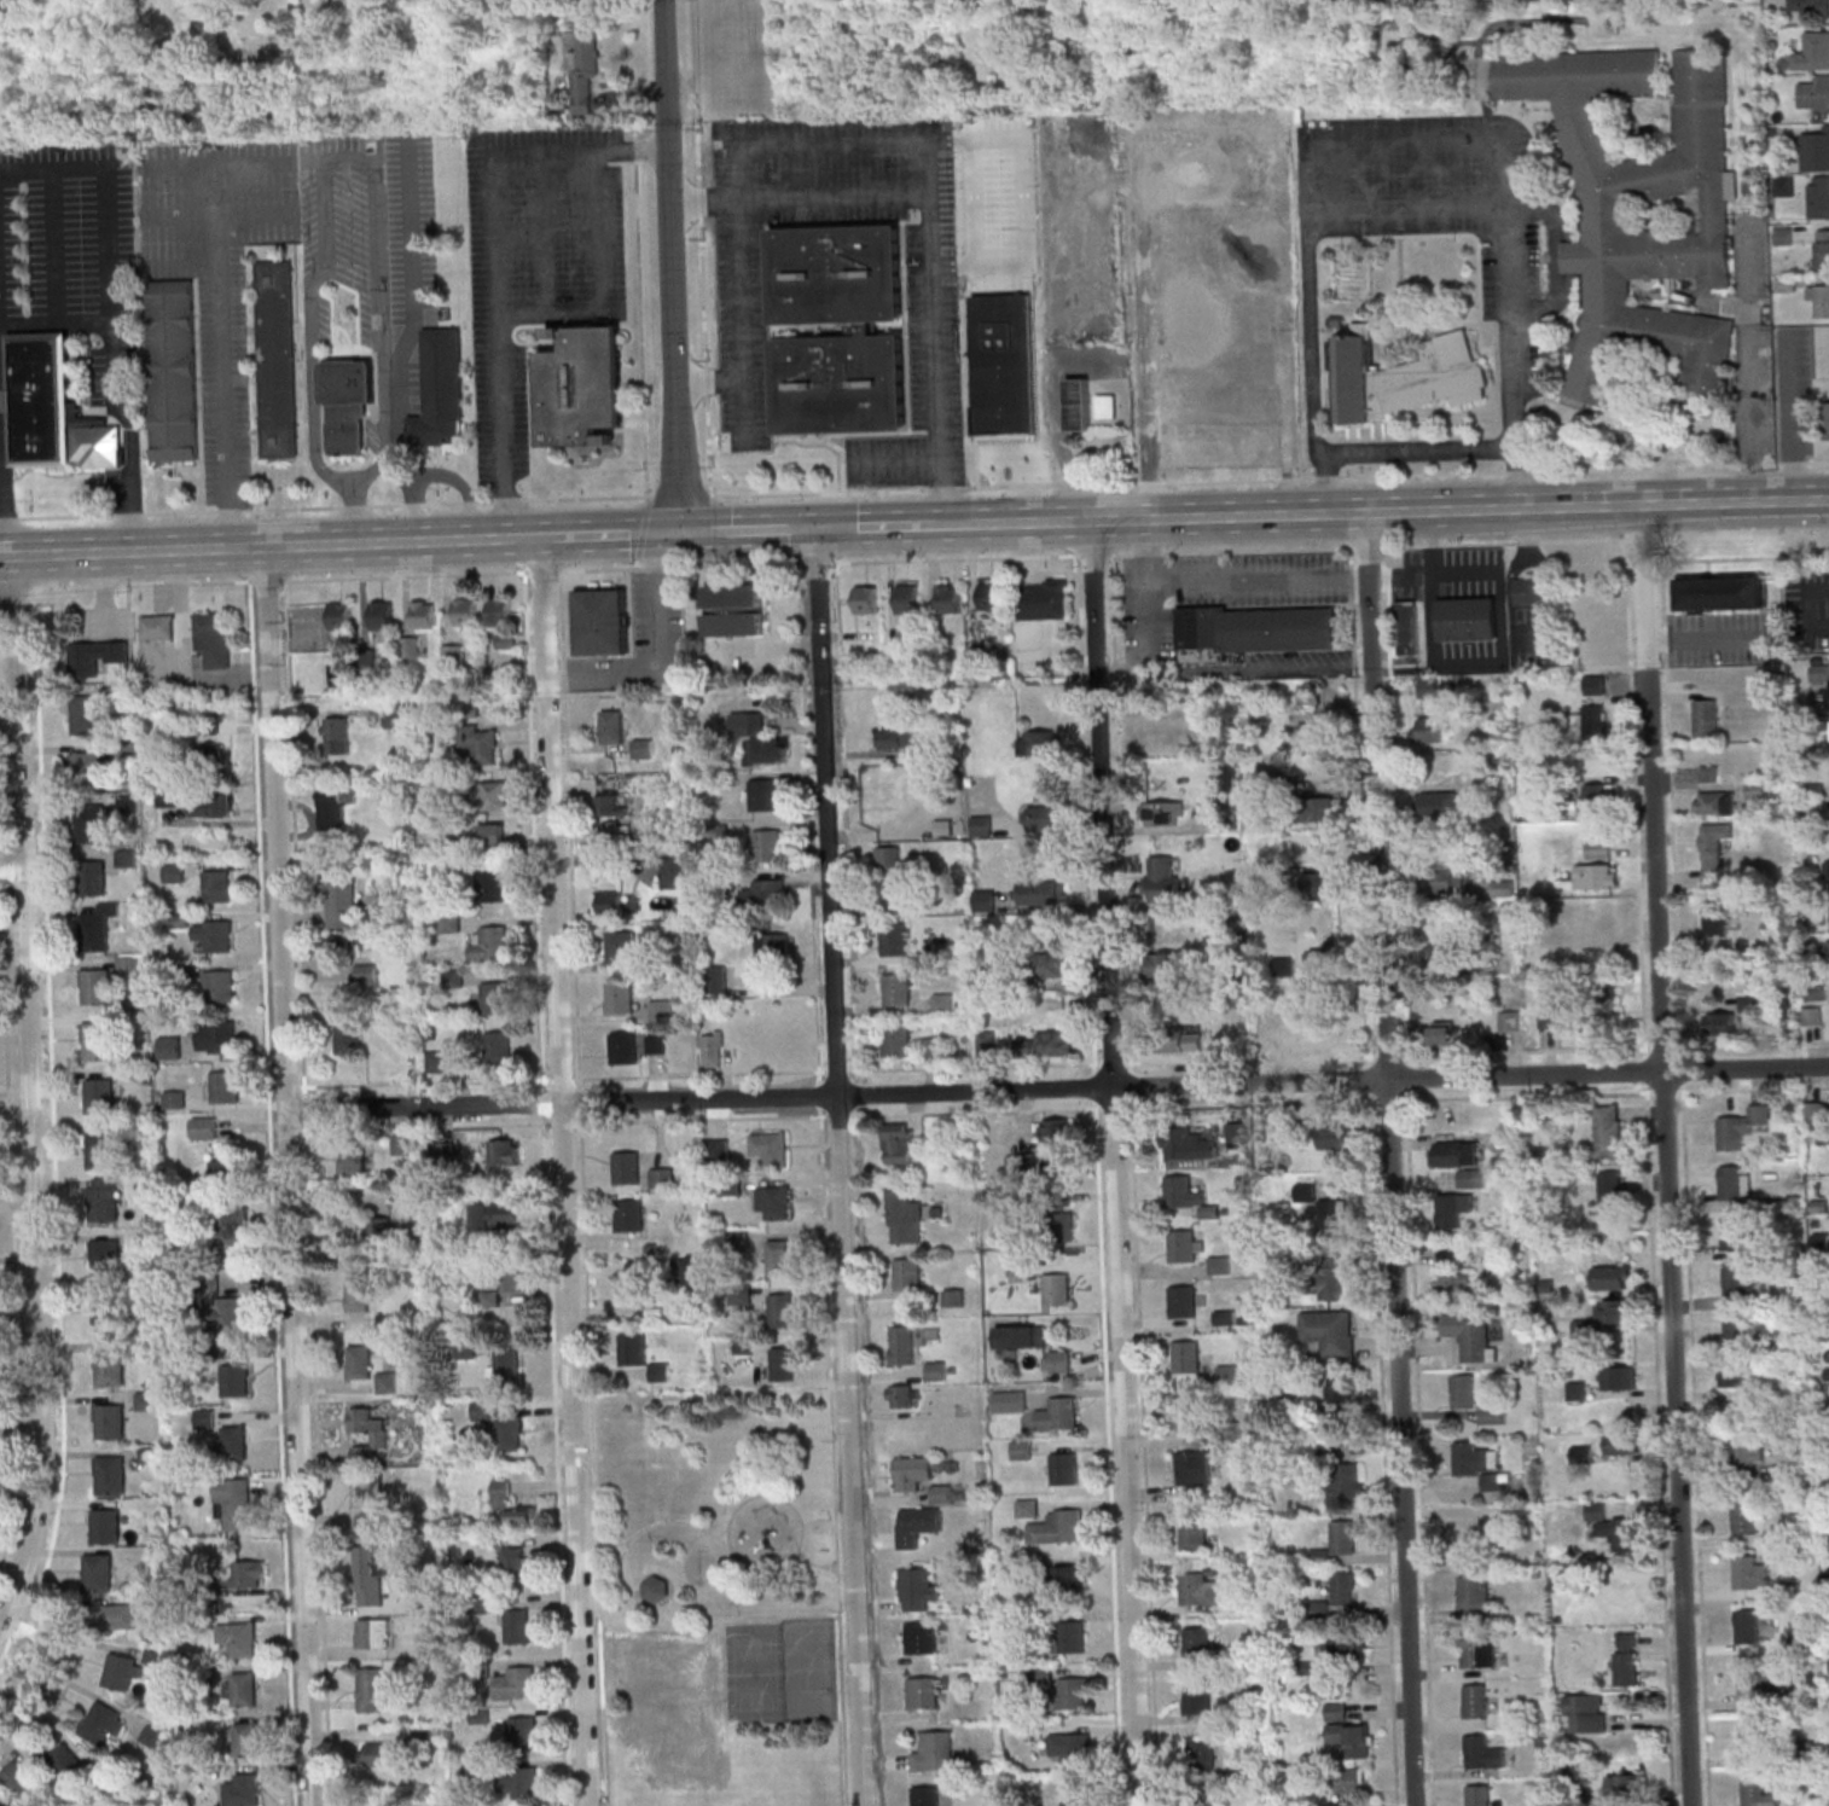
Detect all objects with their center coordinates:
building: (1808, 7)
building: (1813, 51)
building: (581, 68)
building: (1815, 92)
building: (1816, 151)
road: (698, 152)
road: (344, 156)
road: (256, 163)
road: (736, 170)
building: (1784, 185)
building: (1818, 196)
road: (802, 197)
road: (699, 199)
road: (997, 199)
road: (1407, 209)
road: (257, 213)
road: (176, 215)
building: (1606, 216)
road: (1506, 226)
road: (547, 234)
road: (53, 245)
building: (1823, 249)
road: (499, 260)
road: (767, 260)
road: (677, 266)
building: (837, 272)
road: (602, 281)
road: (703, 291)
building: (1819, 297)
road: (114, 308)
road: (640, 314)
road: (1146, 314)
road: (220, 317)
road: (57, 321)
road: (906, 326)
building: (1208, 339)
road: (403, 341)
building: (278, 358)
road: (936, 359)
building: (1004, 361)
road: (1749, 368)
building: (174, 370)
building: (1404, 373)
road: (714, 378)
road: (707, 379)
building: (348, 381)
building: (841, 383)
building: (582, 384)
building: (440, 388)
road: (198, 394)
road: (1313, 399)
building: (1079, 403)
building: (1107, 405)
building: (52, 406)
building: (348, 408)
building: (1828, 417)
road: (1787, 418)
road: (1047, 422)
road: (879, 431)
building: (347, 434)
road: (830, 442)
road: (709, 447)
road: (890, 460)
road: (1268, 478)
road: (460, 483)
road: (1330, 484)
road: (6, 490)
road: (680, 494)
road: (326, 506)
road: (355, 511)
road: (1399, 513)
road: (957, 524)
road: (878, 527)
traffic signals: (817, 529)
road: (754, 530)
road: (640, 533)
road: (666, 533)
traffic signals: (691, 533)
road: (592, 535)
road: (527, 539)
road: (254, 550)
road: (1389, 556)
road: (922, 558)
road: (1389, 586)
building: (1532, 590)
building: (992, 593)
building: (1720, 593)
building: (950, 597)
building: (866, 598)
building: (908, 598)
building: (1044, 599)
road: (1827, 606)
building: (734, 609)
building: (500, 610)
road: (547, 610)
road: (12, 611)
building: (466, 611)
road: (1, 612)
building: (423, 614)
building: (341, 615)
building: (382, 615)
building: (1470, 620)
building: (602, 621)
building: (157, 626)
building: (1410, 627)
building: (1254, 631)
road: (1702, 634)
building: (214, 638)
building: (410, 646)
building: (452, 651)
building: (95, 656)
road: (658, 656)
building: (1595, 684)
building: (1428, 686)
building: (1310, 693)
building: (86, 714)
building: (394, 715)
building: (1706, 716)
building: (1592, 718)
building: (756, 722)
building: (611, 725)
building: (1433, 726)
building: (1312, 733)
building: (335, 734)
building: (894, 738)
building: (1152, 738)
building: (480, 742)
building: (1039, 743)
building: (643, 748)
building: (768, 749)
building: (208, 757)
building: (88, 766)
building: (1757, 789)
building: (762, 794)
building: (492, 795)
building: (168, 796)
building: (337, 797)
building: (1596, 801)
building: (1714, 801)
building: (927, 802)
building: (214, 803)
building: (1439, 803)
building: (609, 805)
building: (1324, 807)
building: (1163, 812)
building: (1043, 815)
building: (89, 823)
building: (934, 825)
building: (981, 825)
road: (569, 826)
road: (1084, 826)
road: (534, 829)
building: (650, 831)
building: (493, 834)
road: (809, 834)
road: (846, 834)
building: (767, 844)
building: (1598, 848)
building: (1713, 850)
building: (889, 861)
road: (10, 867)
building: (673, 871)
building: (1825, 871)
building: (1596, 876)
building: (91, 877)
building: (1162, 878)
building: (1432, 882)
building: (490, 884)
building: (1323, 884)
building: (215, 885)
building: (1040, 892)
building: (765, 894)
building: (339, 899)
building: (985, 900)
building: (609, 902)
building: (1596, 912)
building: (1714, 917)
building: (448, 922)
building: (95, 927)
building: (213, 934)
building: (894, 937)
building: (489, 942)
building: (339, 943)
building: (622, 950)
building: (1828, 950)
building: (1439, 954)
building: (768, 956)
building: (1323, 956)
building: (1049, 963)
building: (1165, 964)
building: (129, 965)
building: (1282, 966)
building: (366, 972)
building: (715, 977)
building: (217, 985)
building: (95, 986)
building: (896, 988)
building: (494, 997)
building: (620, 997)
building: (1607, 1001)
building: (1813, 1015)
building: (1550, 1016)
building: (1720, 1023)
building: (215, 1035)
building: (347, 1035)
building: (1325, 1038)
building: (896, 1039)
building: (1178, 1039)
building: (98, 1040)
building: (656, 1043)
building: (1045, 1044)
building: (986, 1045)
building: (168, 1046)
building: (498, 1046)
building: (623, 1047)
building: (712, 1047)
building: (437, 1061)
building: (223, 1086)
road: (1752, 1088)
road: (1058, 1090)
building: (98, 1096)
road: (29, 1099)
building: (173, 1099)
road: (580, 1099)
road: (544, 1101)
road: (975, 1110)
road: (837, 1115)
road: (701, 1119)
building: (1740, 1126)
building: (204, 1127)
building: (1056, 1128)
building: (1609, 1131)
building: (1237, 1132)
building: (1335, 1137)
building: (899, 1143)
building: (1186, 1144)
building: (771, 1146)
building: (100, 1149)
building: (718, 1149)
building: (504, 1151)
building: (1455, 1152)
road: (1671, 1156)
road: (1393, 1160)
building: (354, 1162)
building: (1024, 1162)
road: (1117, 1163)
building: (626, 1167)
road: (840, 1167)
building: (222, 1169)
road: (1374, 1175)
road: (291, 1177)
building: (662, 1177)
building: (1471, 1178)
road: (1133, 1179)
building: (1735, 1181)
building: (1181, 1191)
road: (54, 1194)
road: (272, 1194)
building: (1609, 1197)
building: (101, 1198)
building: (773, 1201)
road: (1410, 1206)
building: (1453, 1208)
building: (1329, 1213)
building: (500, 1214)
building: (629, 1214)
road: (12, 1215)
building: (905, 1216)
building: (1063, 1225)
building: (234, 1226)
building: (378, 1230)
building: (1735, 1232)
road: (571, 1243)
building: (1183, 1245)
building: (1448, 1253)
building: (779, 1256)
building: (104, 1258)
building: (689, 1271)
building: (1332, 1272)
building: (907, 1273)
building: (1612, 1277)
building: (517, 1278)
building: (1737, 1281)
building: (1452, 1283)
building: (1057, 1289)
building: (358, 1294)
building: (1183, 1300)
building: (782, 1310)
building: (1613, 1311)
building: (108, 1312)
building: (223, 1312)
building: (1329, 1330)
building: (1736, 1334)
building: (1021, 1335)
building: (1470, 1335)
building: (902, 1343)
building: (633, 1348)
building: (1186, 1355)
building: (360, 1360)
building: (1057, 1360)
building: (783, 1363)
building: (507, 1365)
building: (110, 1366)
building: (936, 1370)
building: (660, 1371)
building: (1731, 1375)
building: (1618, 1377)
building: (236, 1378)
building: (387, 1380)
building: (1342, 1389)
building: (1464, 1390)
building: (1577, 1390)
building: (901, 1395)
building: (146, 1400)
building: (1010, 1400)
building: (1185, 1411)
building: (1058, 1413)
building: (1493, 1415)
building: (205, 1418)
building: (110, 1421)
building: (368, 1432)
building: (510, 1433)
building: (234, 1441)
building: (1624, 1442)
road: (1695, 1442)
building: (1022, 1448)
building: (1748, 1450)
road: (1109, 1452)
road: (832, 1456)
road: (869, 1456)
road: (557, 1459)
road: (593, 1459)
building: (1477, 1462)
building: (1194, 1467)
building: (1064, 1468)
building: (912, 1471)
building: (110, 1475)
building: (1343, 1485)
building: (233, 1502)
building: (367, 1503)
building: (513, 1504)
building: (1028, 1508)
building: (1743, 1516)
building: (105, 1526)
building: (917, 1526)
building: (1057, 1527)
building: (1614, 1528)
road: (724, 1533)
building: (1194, 1534)
building: (1342, 1537)
building: (1522, 1541)
road: (626, 1547)
building: (515, 1562)
road: (817, 1563)
building: (98, 1572)
building: (246, 1573)
building: (1750, 1573)
building: (370, 1574)
road: (767, 1574)
building: (1069, 1576)
building: (656, 1586)
building: (1345, 1586)
building: (918, 1587)
building: (1200, 1587)
building: (1474, 1595)
park: (718, 1598)
building: (121, 1615)
building: (516, 1626)
building: (1747, 1626)
road: (701, 1630)
building: (373, 1632)
building: (1072, 1636)
building: (922, 1637)
building: (240, 1638)
building: (428, 1643)
building: (1200, 1643)
building: (1345, 1645)
building: (1479, 1651)
building: (1626, 1657)
road: (48, 1663)
building: (122, 1669)
park: (809, 1672)
park: (756, 1674)
building: (1758, 1680)
building: (516, 1682)
building: (244, 1689)
building: (371, 1689)
building: (924, 1691)
building: (1072, 1692)
building: (1197, 1698)
building: (1476, 1700)
building: (1585, 1712)
building: (104, 1721)
building: (523, 1731)
building: (1348, 1732)
building: (246, 1738)
building: (1754, 1738)
building: (1072, 1747)
building: (935, 1752)
building: (1483, 1752)
building: (1202, 1753)
building: (378, 1754)
building: (66, 1760)
park: (689, 1777)
building: (1351, 1779)
building: (21, 1782)
building: (521, 1782)
building: (1625, 1785)
building: (243, 1790)
building: (1759, 1793)
building: (1479, 1794)
building: (927, 1795)
building: (1203, 1799)
building: (1078, 1802)
building: (1357, 1804)
building: (0, 1805)

